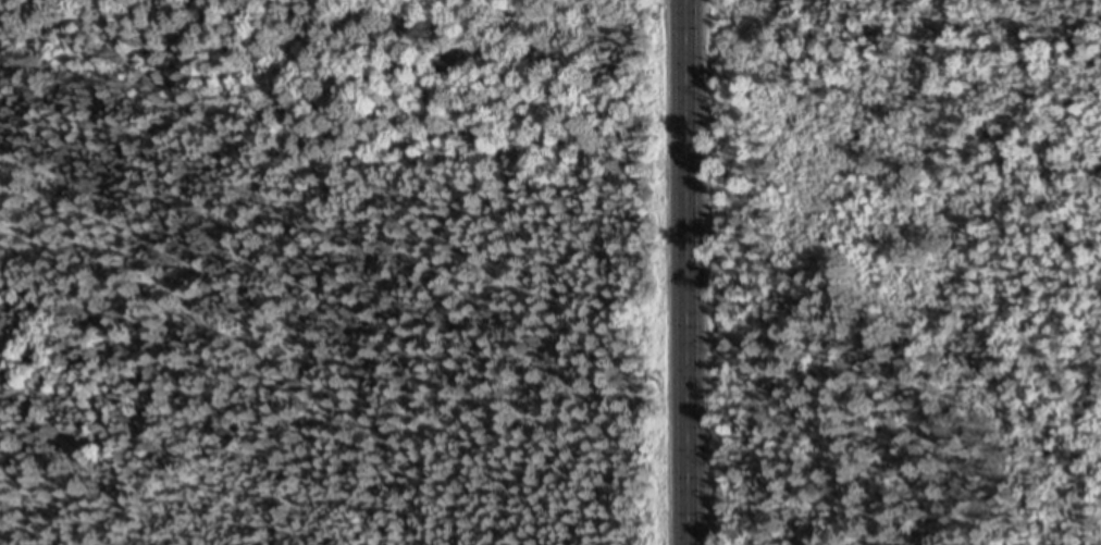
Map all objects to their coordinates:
road: (686, 272)

